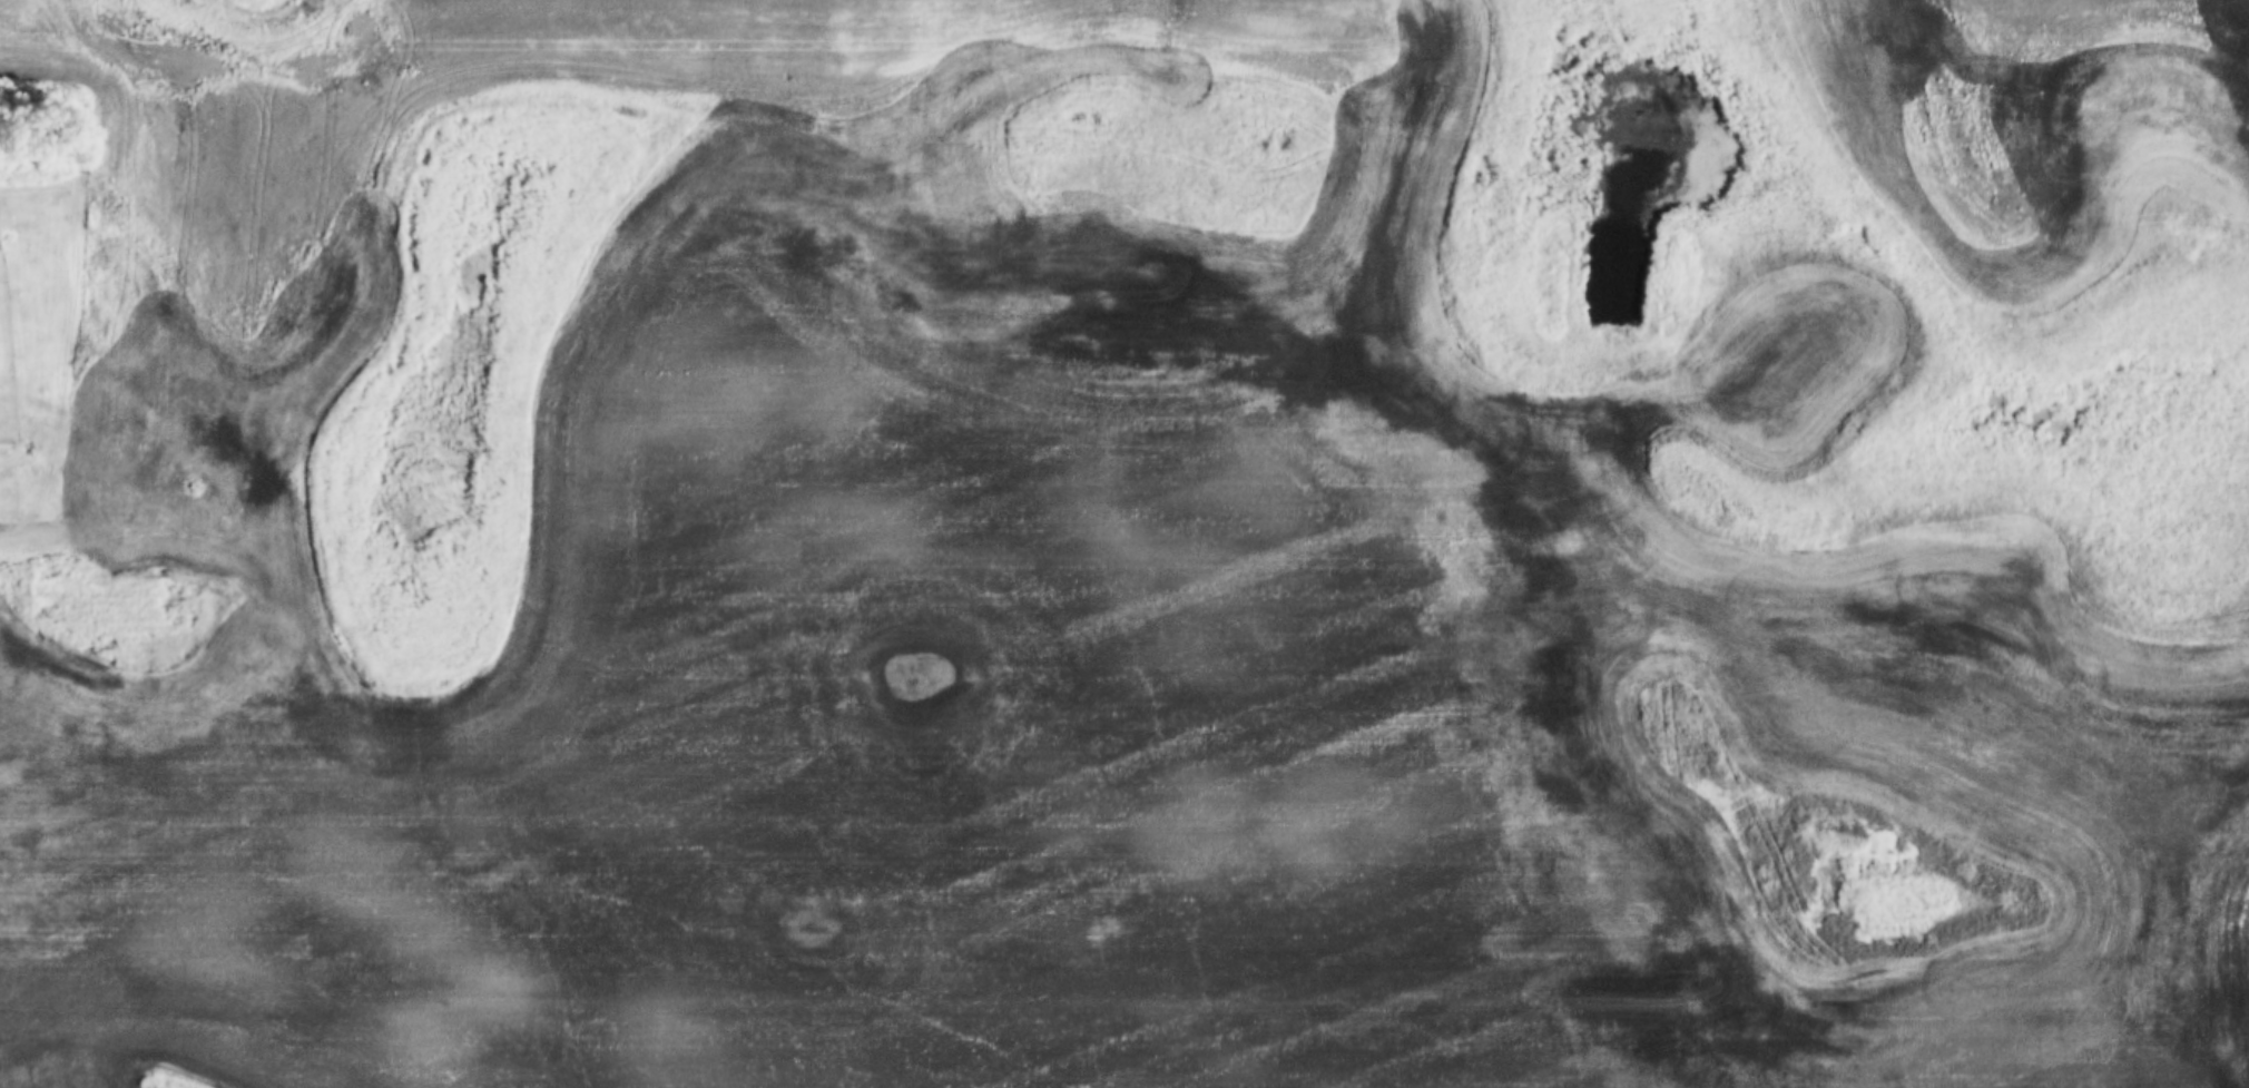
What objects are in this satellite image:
building: (13, 410)

